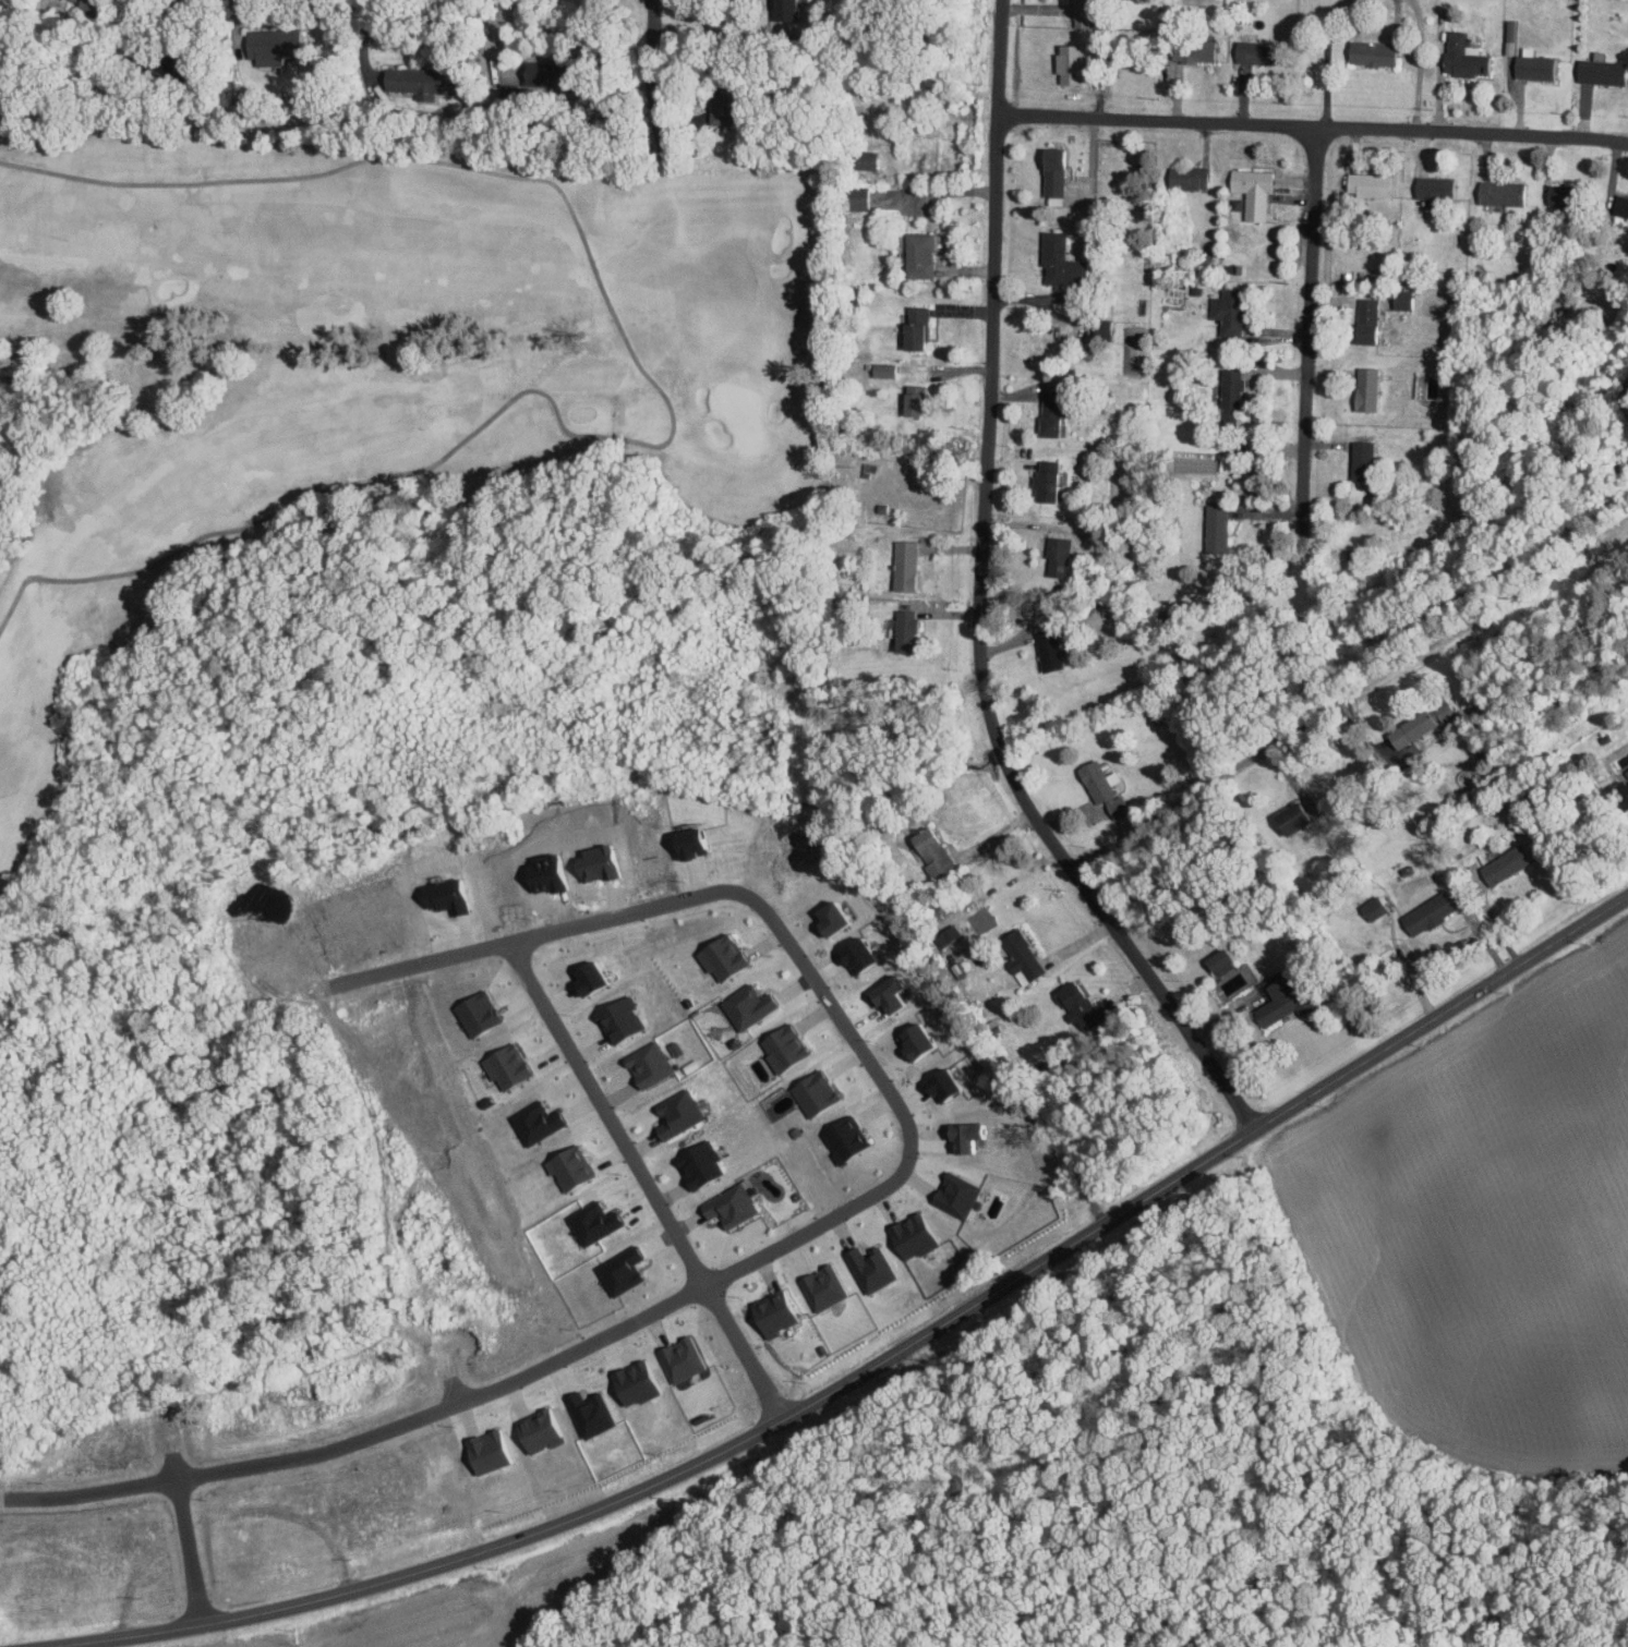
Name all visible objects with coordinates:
building: (89, 5)
building: (782, 9)
road: (719, 33)
building: (1509, 36)
road: (364, 43)
building: (273, 44)
building: (1247, 50)
building: (1370, 52)
building: (1461, 56)
road: (1326, 59)
building: (159, 62)
building: (1066, 62)
road: (1418, 64)
building: (1531, 66)
building: (554, 70)
building: (1599, 71)
road: (652, 73)
building: (421, 81)
building: (729, 102)
road: (1313, 125)
building: (1050, 171)
building: (1185, 177)
building: (1365, 183)
building: (1431, 186)
building: (1252, 190)
road: (938, 191)
building: (1498, 192)
building: (855, 197)
building: (1619, 205)
building: (917, 254)
building: (1057, 261)
road: (1309, 299)
building: (1226, 311)
building: (1363, 320)
building: (912, 328)
park: (364, 352)
building: (882, 370)
building: (1364, 388)
building: (1231, 393)
building: (911, 399)
road: (667, 402)
park: (741, 412)
building: (1049, 413)
building: (1359, 460)
building: (1044, 480)
building: (1214, 528)
building: (1056, 556)
building: (903, 565)
road: (982, 604)
building: (905, 628)
building: (1047, 649)
road: (1350, 697)
building: (1418, 723)
building: (1096, 783)
building: (1619, 791)
building: (1288, 818)
building: (687, 843)
building: (930, 851)
building: (1503, 864)
building: (1371, 908)
building: (1424, 913)
building: (823, 919)
building: (945, 934)
building: (851, 955)
building: (719, 956)
building: (1018, 957)
building: (1217, 961)
building: (581, 977)
building: (882, 995)
building: (1276, 1003)
building: (745, 1006)
building: (1077, 1006)
building: (616, 1018)
building: (908, 1040)
building: (780, 1046)
building: (644, 1064)
building: (936, 1083)
building: (811, 1092)
building: (674, 1114)
building: (842, 1138)
building: (960, 1138)
building: (696, 1164)
building: (566, 1166)
road: (642, 1182)
building: (954, 1194)
building: (727, 1206)
building: (590, 1222)
road: (808, 1228)
building: (912, 1235)
building: (868, 1268)
building: (617, 1270)
building: (820, 1286)
building: (771, 1312)
building: (678, 1358)
road: (873, 1363)
building: (588, 1413)
road: (189, 1554)
crop: (446, 1610)

